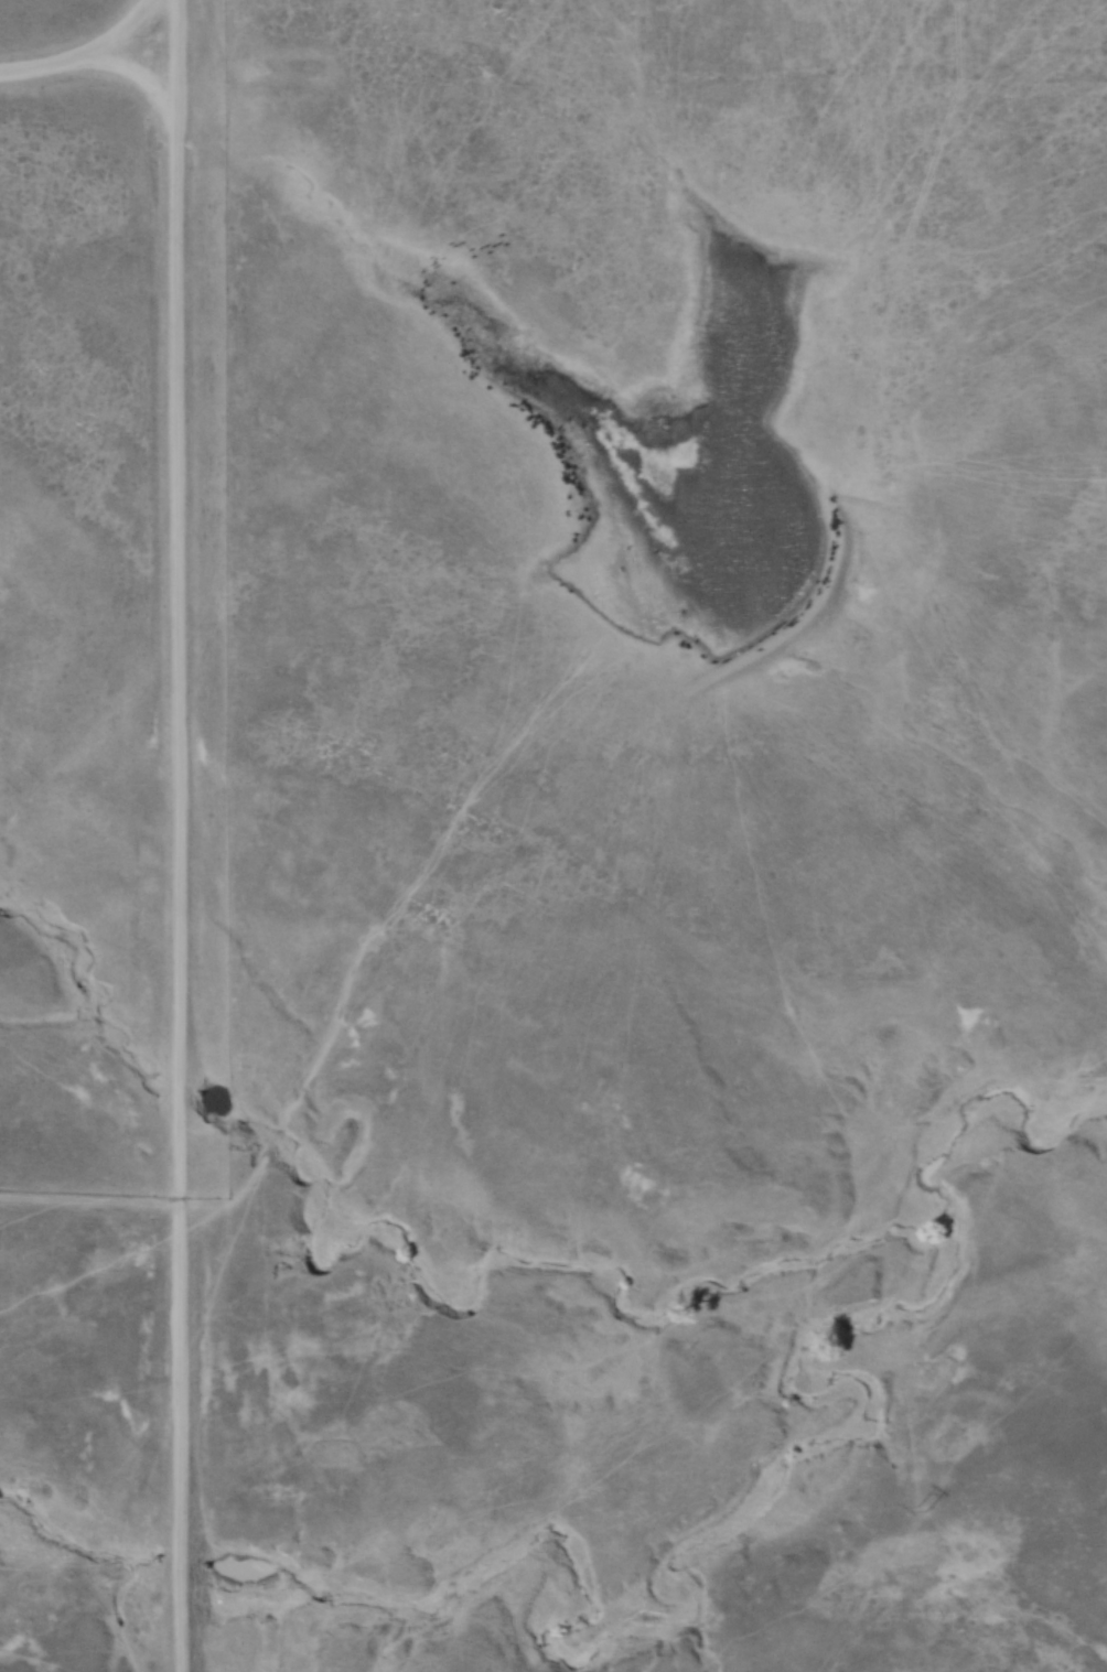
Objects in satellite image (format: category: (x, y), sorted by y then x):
road: (80, 52)
road: (137, 77)
road: (178, 835)
power tower: (917, 1508)

